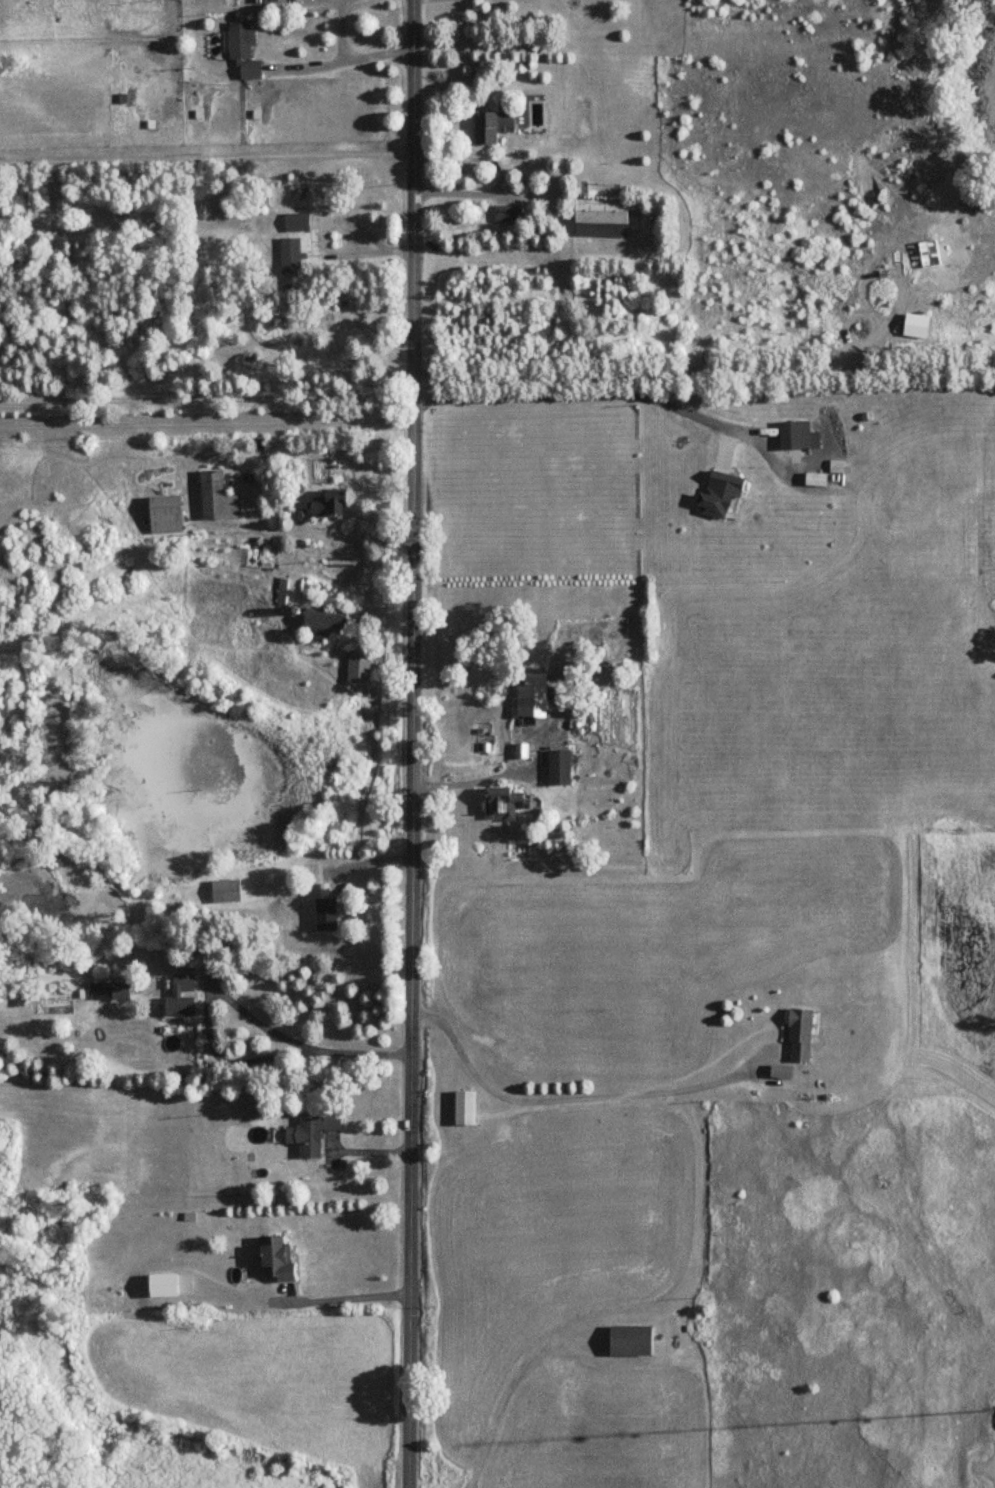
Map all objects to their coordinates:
road: (314, 0)
road: (342, 30)
building: (244, 50)
road: (344, 60)
building: (496, 124)
road: (205, 156)
road: (500, 175)
building: (607, 209)
building: (509, 213)
building: (298, 221)
road: (362, 233)
building: (292, 255)
road: (611, 396)
road: (205, 400)
road: (204, 421)
building: (797, 435)
building: (725, 493)
building: (218, 497)
building: (333, 504)
building: (168, 514)
road: (327, 536)
building: (282, 590)
building: (358, 665)
building: (536, 696)
building: (610, 728)
road: (408, 743)
building: (560, 767)
road: (504, 773)
building: (504, 803)
road: (326, 868)
building: (226, 891)
building: (327, 914)
building: (110, 991)
building: (184, 997)
road: (230, 998)
building: (806, 1036)
road: (568, 1082)
building: (467, 1109)
building: (315, 1134)
building: (277, 1259)
road: (352, 1290)
building: (633, 1341)

